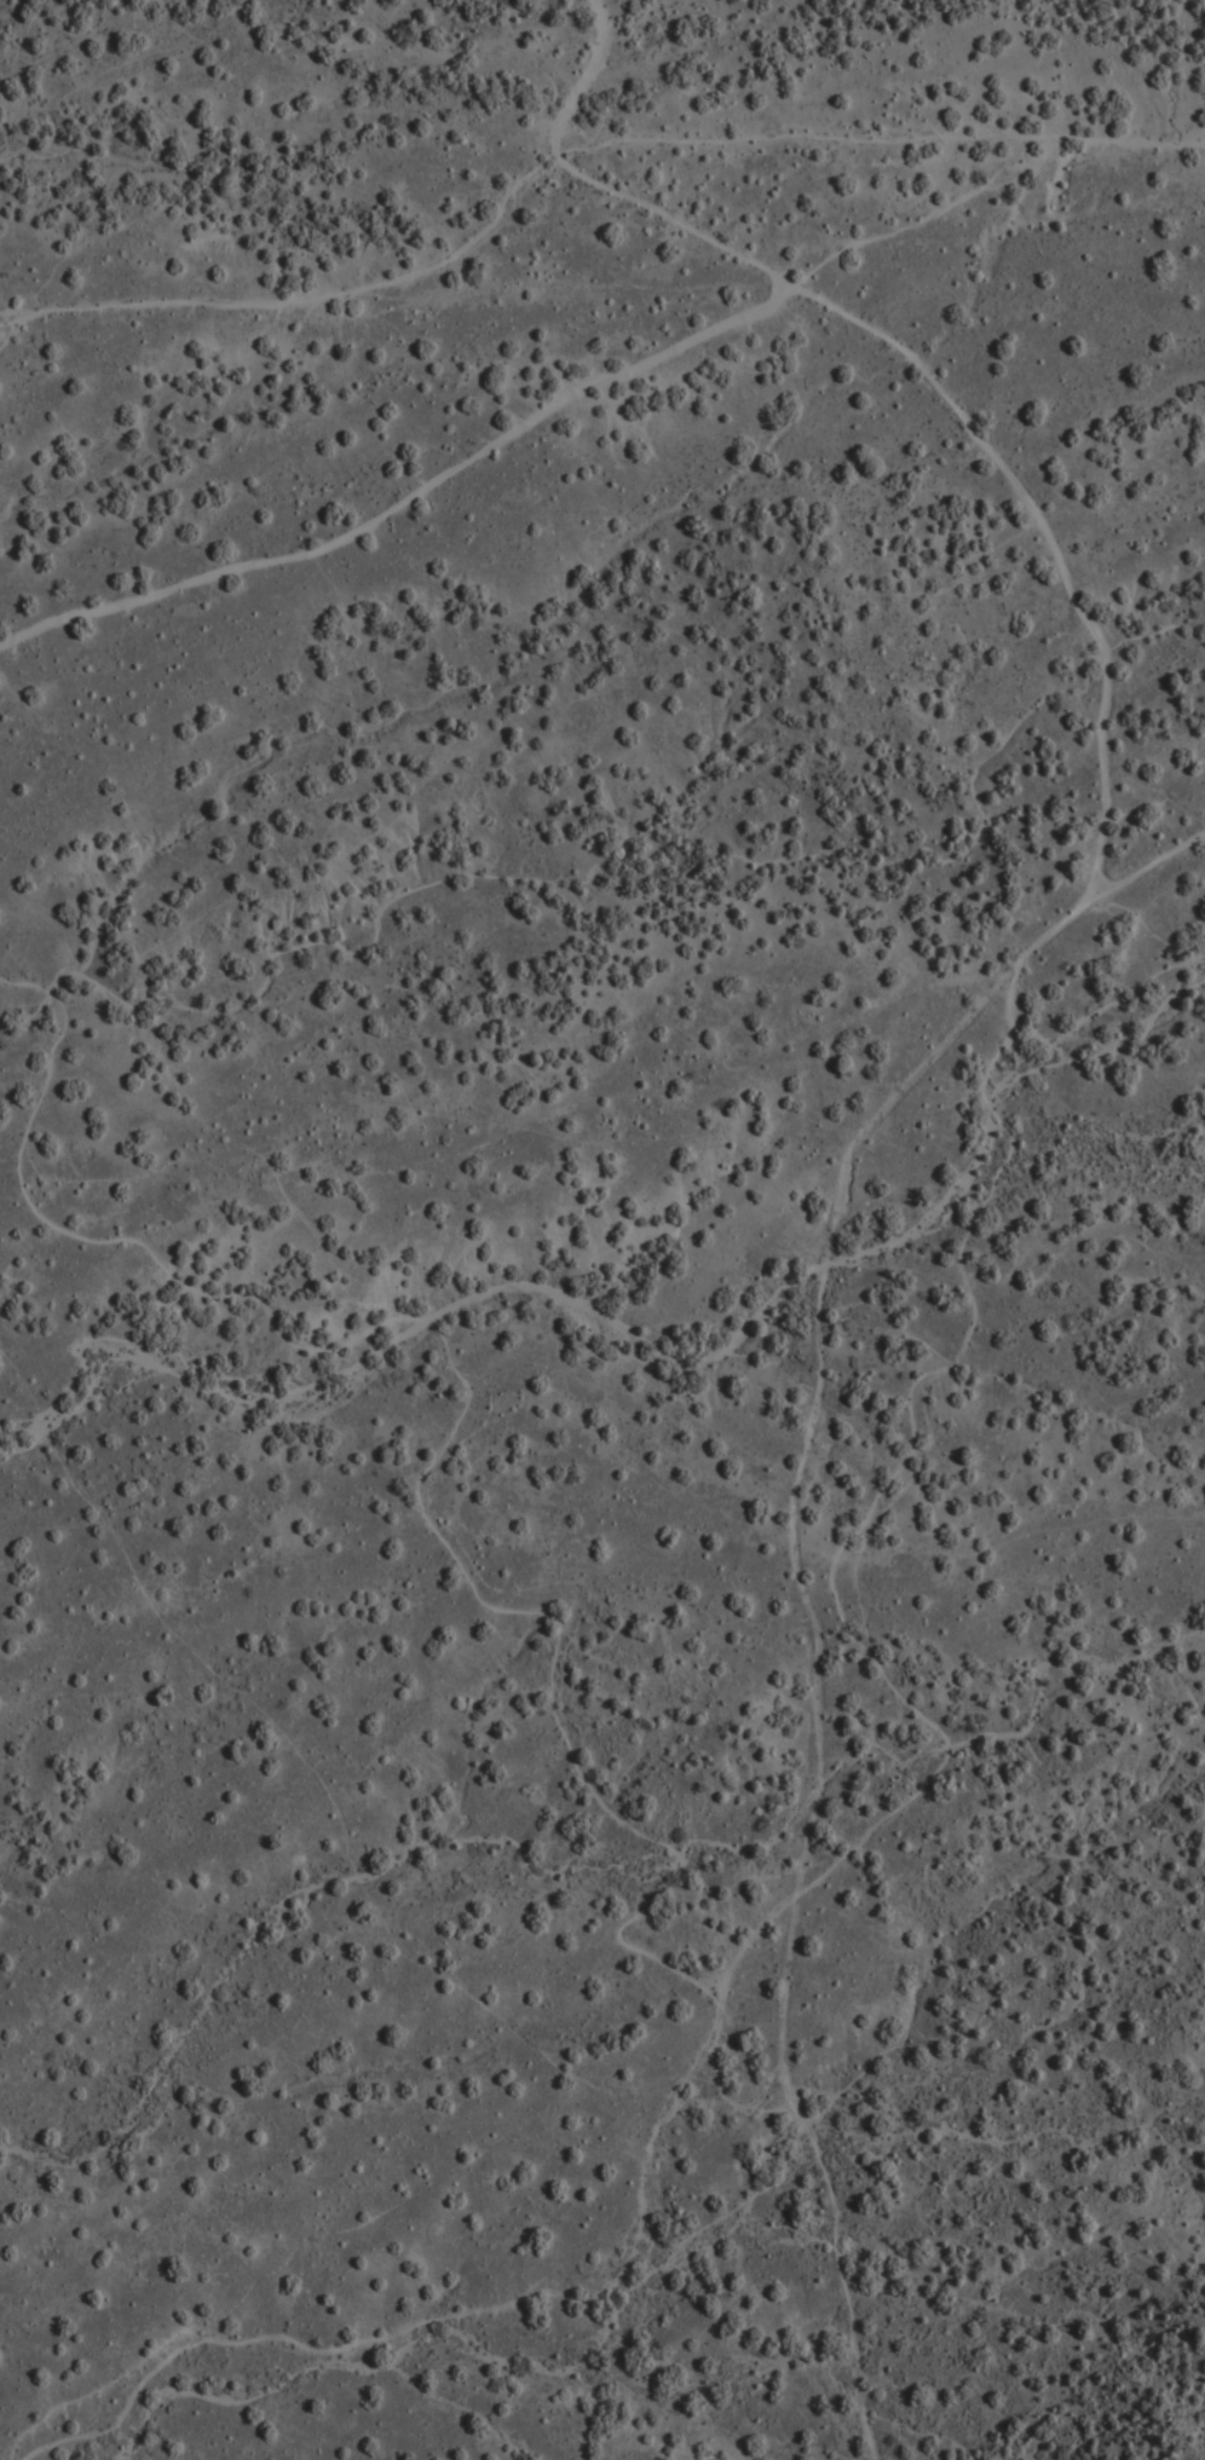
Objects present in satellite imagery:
road: (573, 146)
road: (555, 406)
road: (1154, 866)
road: (1043, 937)
park: (553, 1111)
road: (253, 1150)
road: (474, 1391)
road: (766, 1877)
road: (840, 2276)

